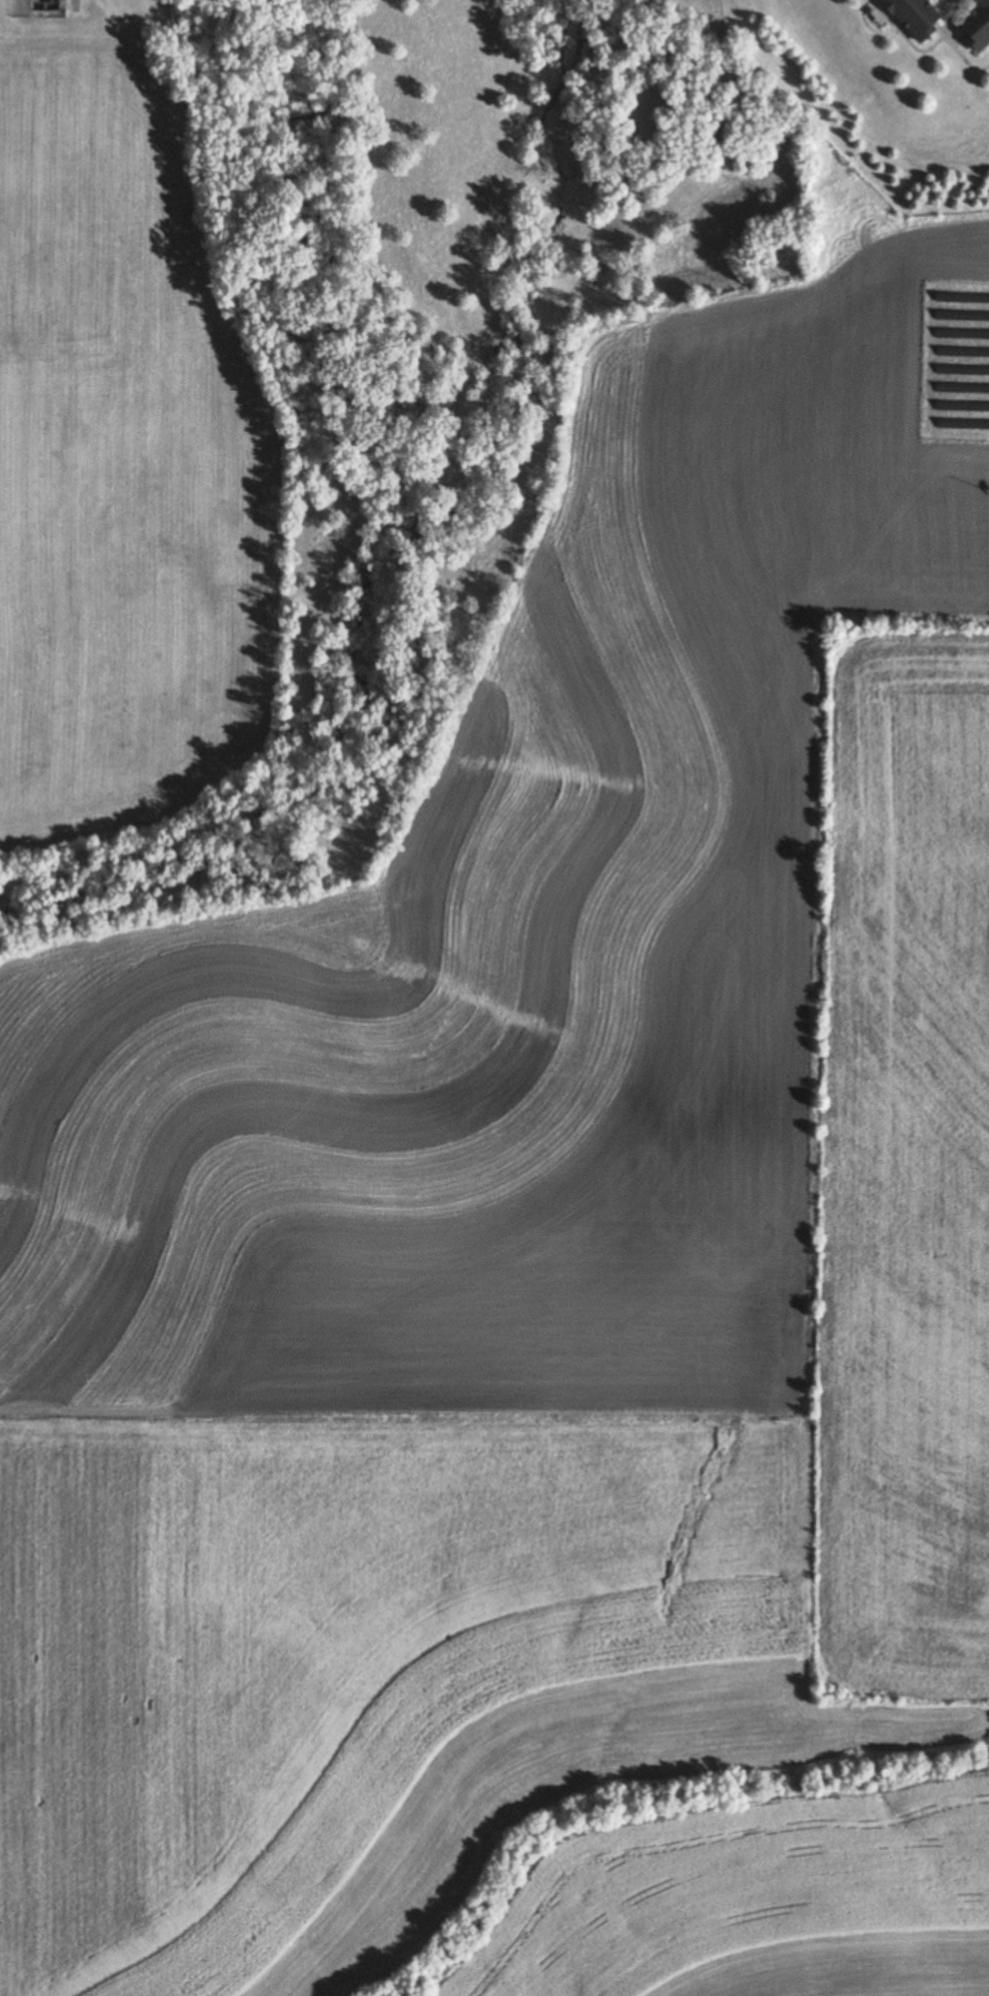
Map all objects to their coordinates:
building: (908, 16)
building: (973, 25)

